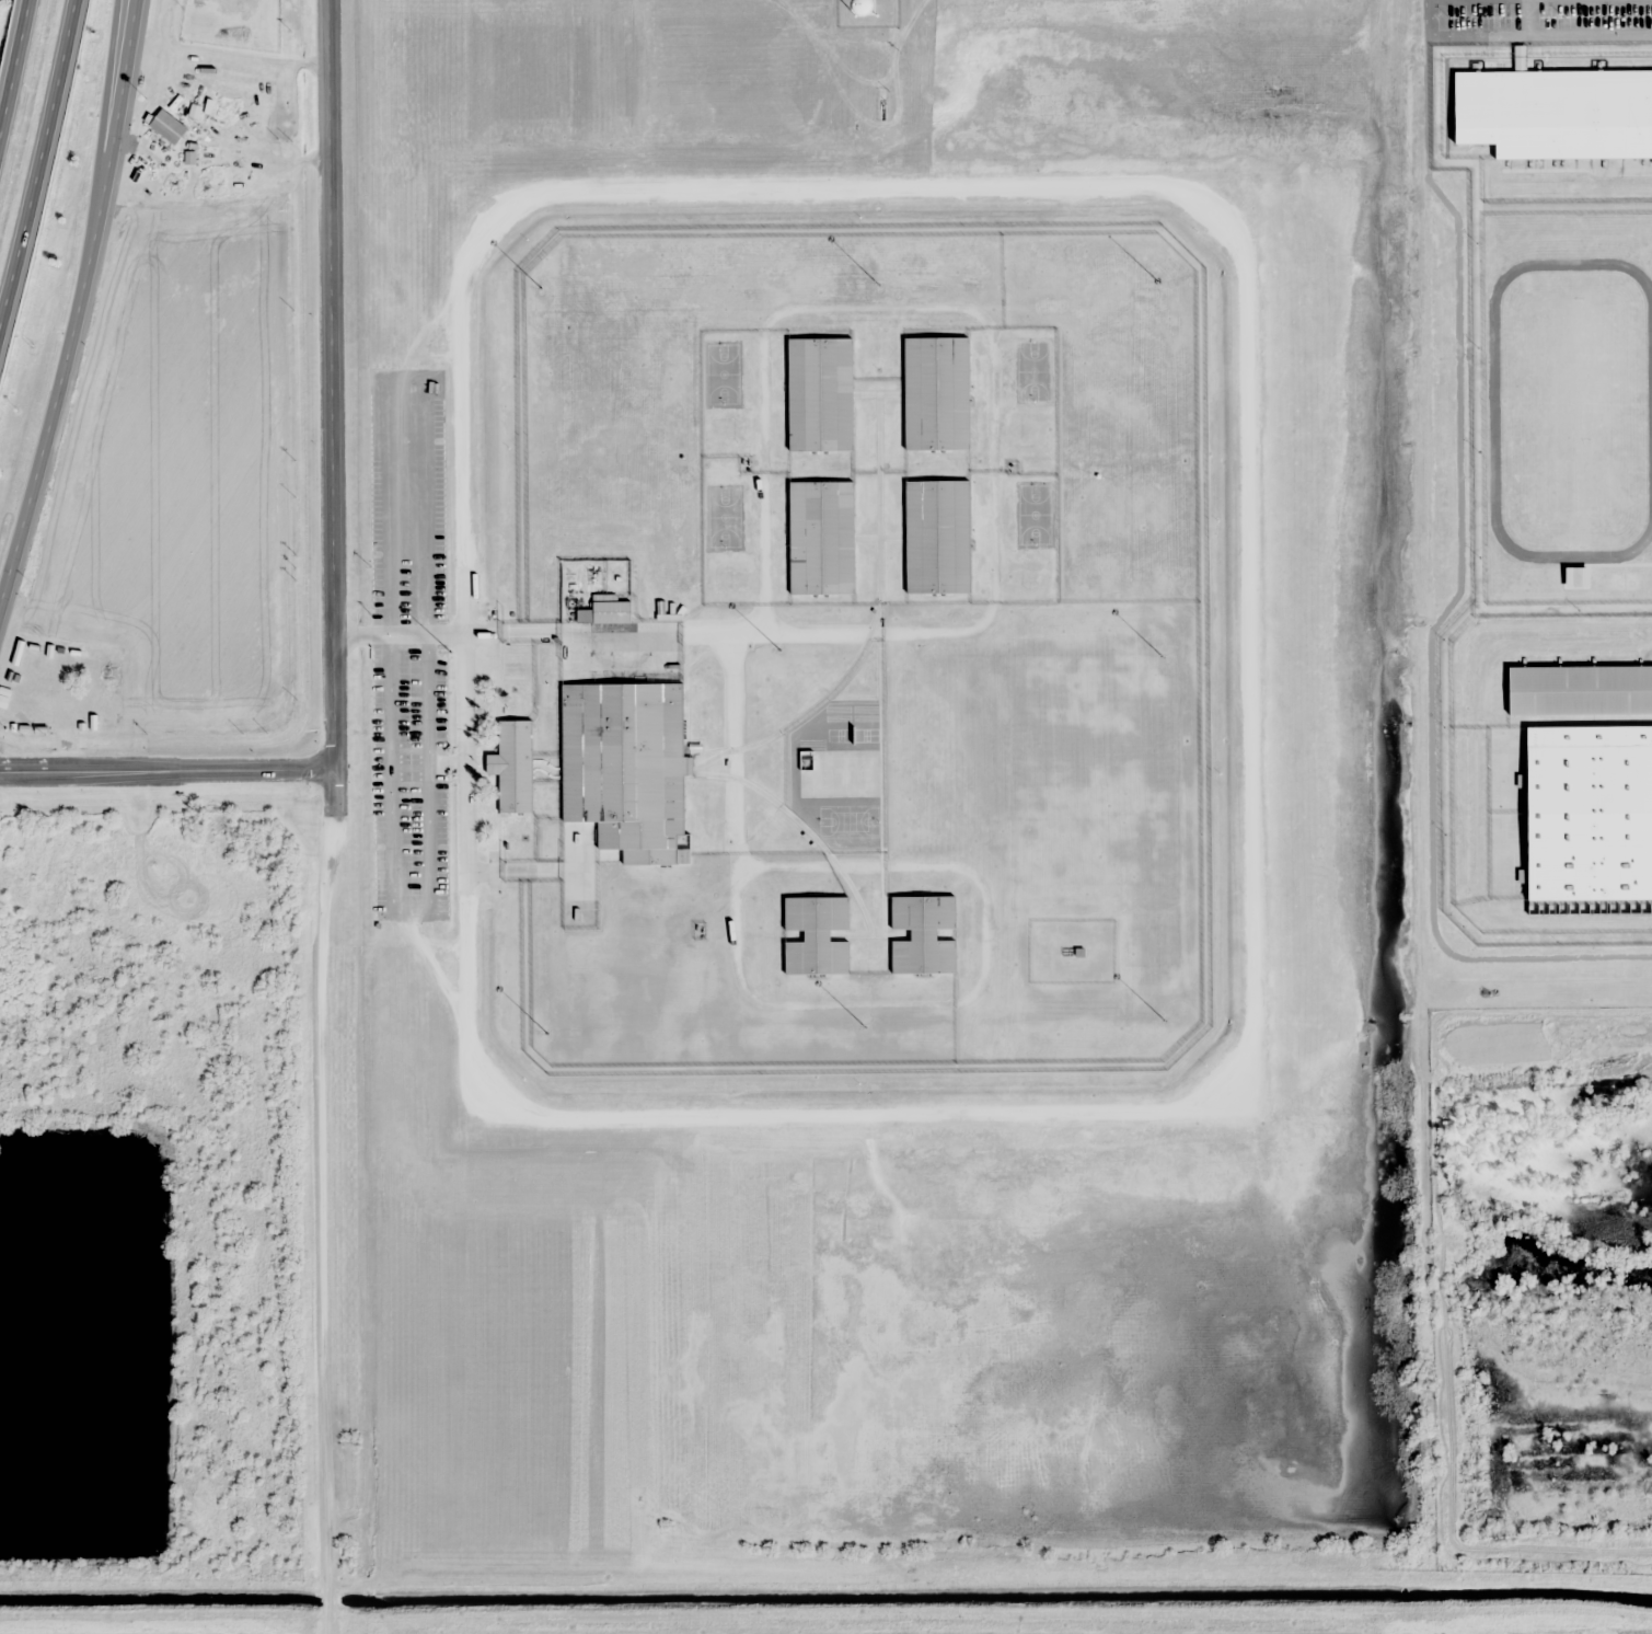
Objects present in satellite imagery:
road: (12, 59)
road: (111, 92)
building: (1556, 113)
building: (167, 126)
road: (37, 162)
building: (1591, 255)
road: (76, 302)
building: (1592, 331)
road: (330, 386)
building: (937, 393)
building: (820, 394)
building: (1592, 405)
building: (1592, 481)
building: (938, 537)
building: (822, 538)
building: (1592, 556)
building: (606, 610)
building: (1581, 689)
building: (515, 767)
building: (624, 771)
road: (166, 772)
building: (841, 773)
building: (1590, 813)
wastewater plant: (927, 909)
building: (817, 935)
building: (924, 935)
wastewater plant: (928, 952)
road: (330, 1203)
road: (993, 1550)

